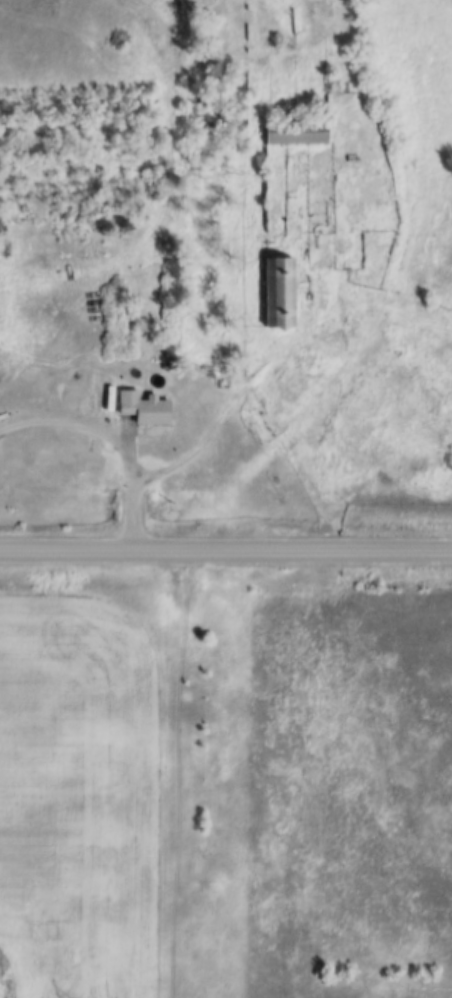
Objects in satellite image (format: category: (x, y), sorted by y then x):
building: (293, 131)
building: (276, 292)
road: (237, 400)
building: (140, 408)
road: (111, 444)
road: (226, 554)

